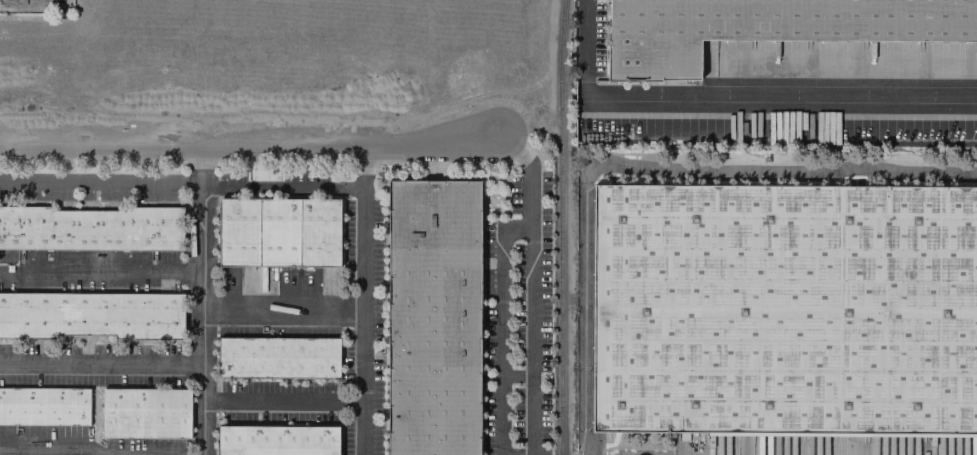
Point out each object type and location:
building: (768, 27)
building: (313, 42)
road: (735, 99)
road: (249, 152)
road: (639, 174)
road: (182, 182)
railway: (564, 227)
building: (91, 228)
building: (279, 233)
road: (202, 258)
road: (101, 272)
road: (535, 286)
road: (364, 303)
building: (783, 307)
road: (283, 313)
building: (91, 315)
building: (435, 316)
road: (501, 327)
building: (278, 358)
road: (147, 365)
road: (518, 375)
road: (284, 401)
building: (44, 406)
building: (145, 413)
building: (276, 440)
railway: (601, 446)
road: (52, 448)

